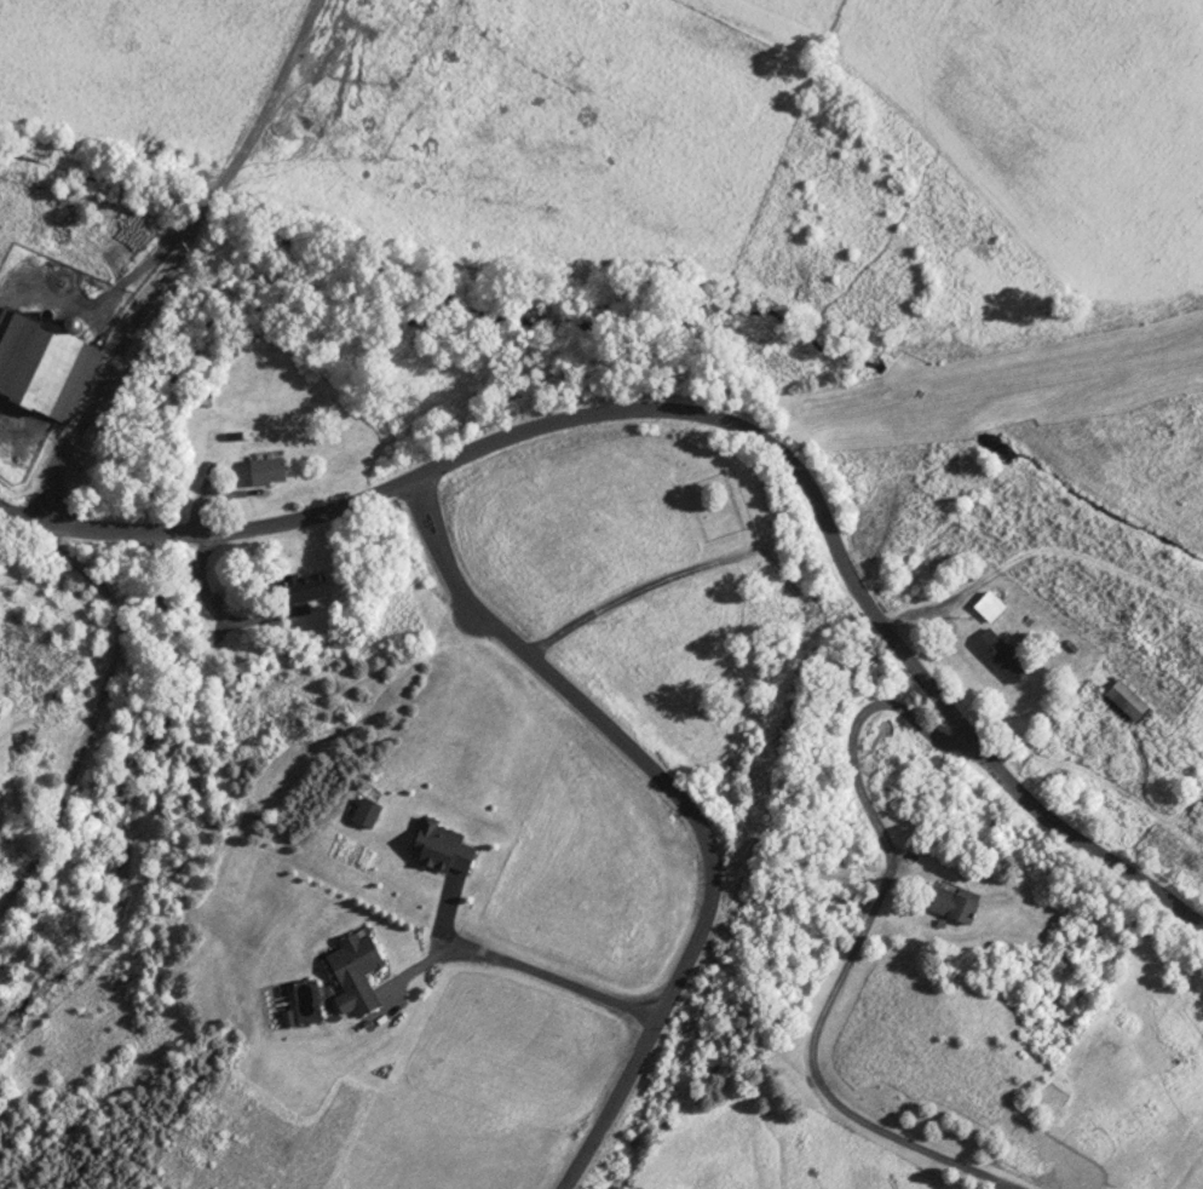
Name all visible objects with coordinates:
building: (42, 368)
road: (707, 415)
building: (265, 471)
building: (305, 594)
building: (1126, 700)
road: (91, 716)
road: (683, 811)
building: (441, 848)
building: (830, 877)
building: (949, 906)
road: (860, 944)
building: (352, 972)
road: (549, 980)

